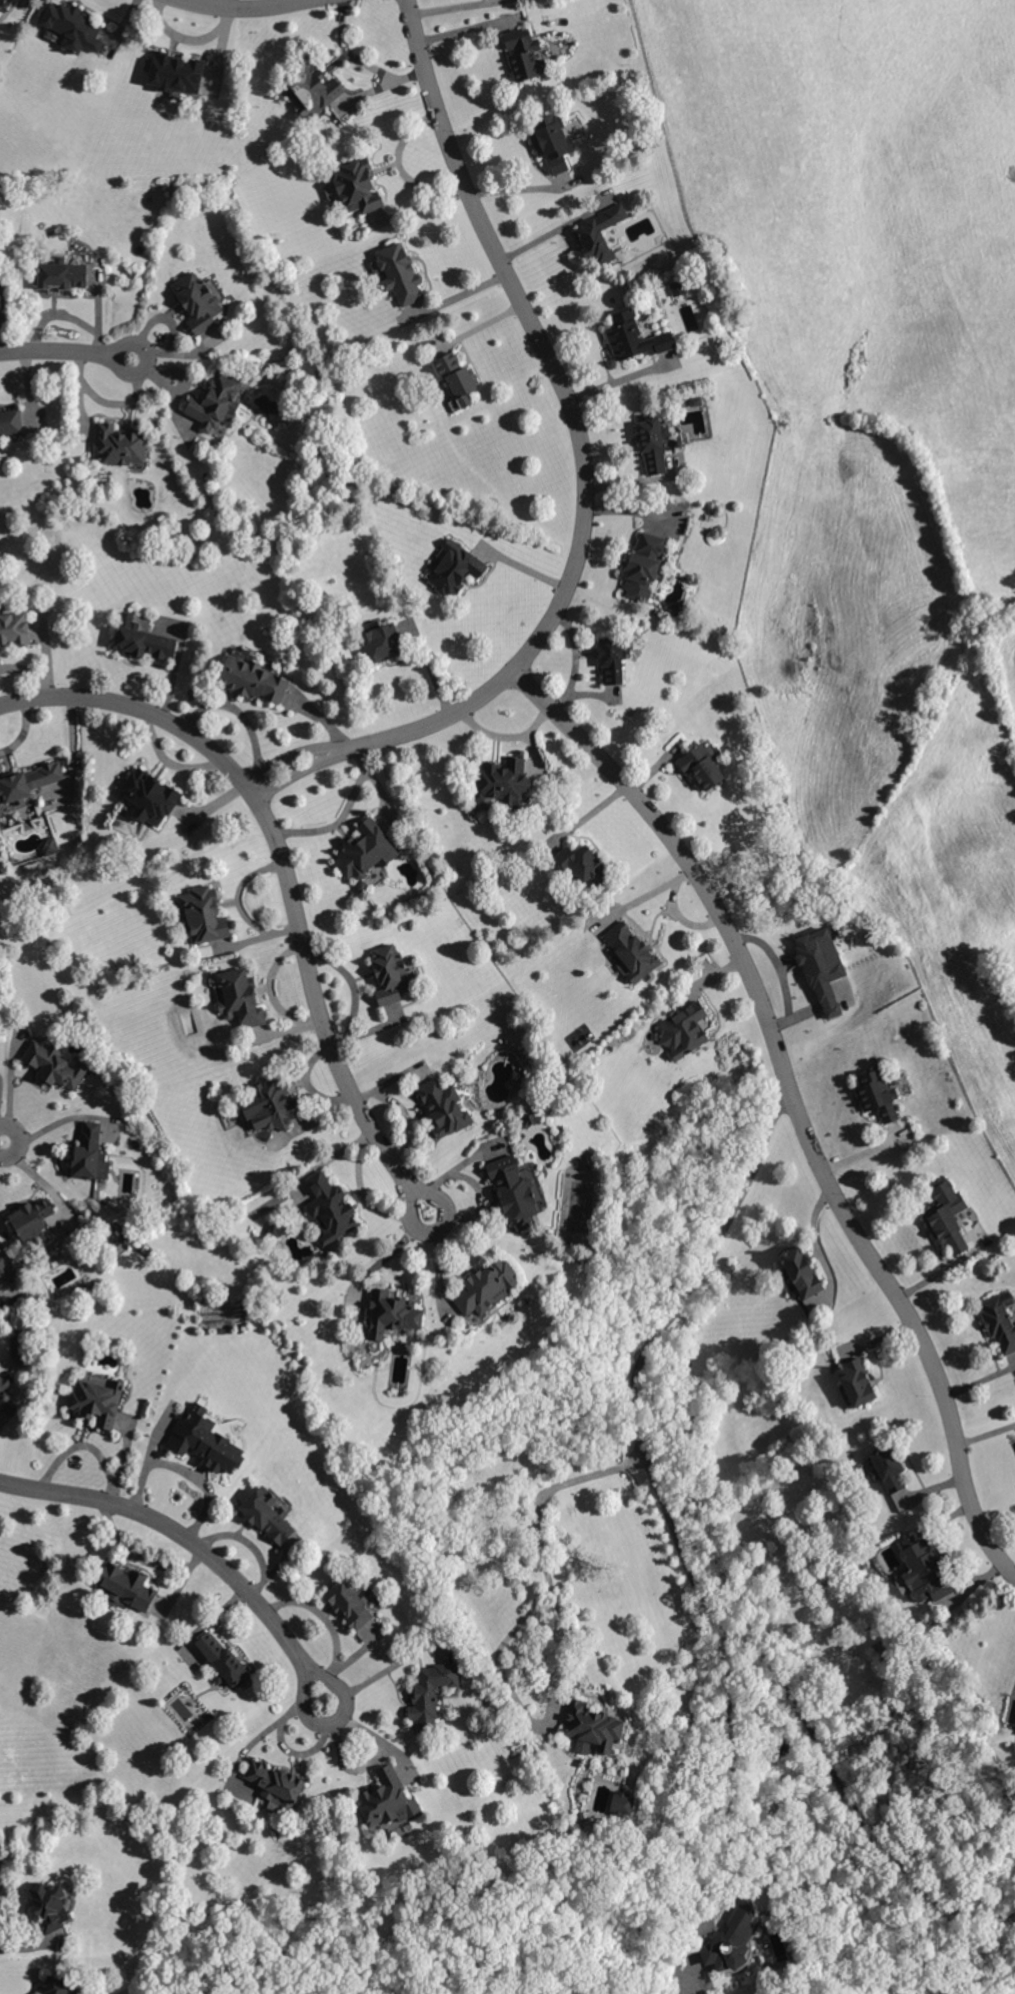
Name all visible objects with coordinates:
building: (2, 2)
road: (244, 10)
building: (72, 27)
building: (524, 54)
road: (359, 61)
building: (174, 72)
building: (313, 88)
building: (551, 142)
building: (356, 186)
road: (516, 191)
building: (598, 235)
building: (398, 272)
building: (62, 274)
building: (677, 287)
building: (197, 301)
building: (634, 337)
road: (51, 352)
road: (142, 372)
building: (456, 377)
building: (216, 401)
building: (10, 422)
road: (578, 441)
building: (653, 441)
building: (118, 444)
building: (644, 566)
building: (453, 567)
road: (529, 570)
building: (14, 630)
building: (137, 636)
building: (382, 642)
building: (136, 644)
building: (611, 660)
road: (32, 672)
building: (254, 678)
road: (306, 753)
building: (701, 766)
road: (280, 774)
building: (502, 781)
building: (27, 787)
building: (150, 798)
building: (51, 848)
building: (366, 850)
building: (580, 865)
road: (693, 870)
road: (288, 872)
building: (362, 887)
road: (644, 895)
building: (205, 915)
road: (682, 917)
building: (630, 951)
building: (821, 968)
building: (391, 974)
building: (241, 998)
building: (678, 1041)
building: (55, 1065)
building: (150, 1069)
building: (520, 1078)
building: (877, 1095)
building: (275, 1105)
building: (445, 1108)
building: (531, 1120)
road: (2, 1142)
building: (92, 1154)
road: (455, 1166)
building: (514, 1192)
road: (477, 1206)
building: (331, 1208)
building: (33, 1221)
building: (276, 1230)
building: (946, 1231)
road: (816, 1246)
road: (387, 1254)
building: (2, 1268)
building: (804, 1273)
building: (97, 1286)
building: (487, 1287)
building: (0, 1289)
building: (392, 1315)
building: (999, 1324)
building: (224, 1333)
road: (924, 1337)
building: (857, 1382)
building: (5, 1385)
building: (98, 1403)
road: (984, 1433)
building: (206, 1442)
building: (889, 1469)
building: (268, 1514)
road: (195, 1544)
road: (683, 1553)
building: (924, 1571)
building: (128, 1587)
building: (350, 1602)
road: (556, 1640)
building: (224, 1661)
road: (378, 1675)
building: (432, 1695)
road: (1014, 1708)
building: (594, 1728)
road: (730, 1768)
building: (276, 1785)
building: (388, 1801)
building: (623, 1805)
building: (50, 1906)
building: (732, 1939)
building: (61, 1987)

